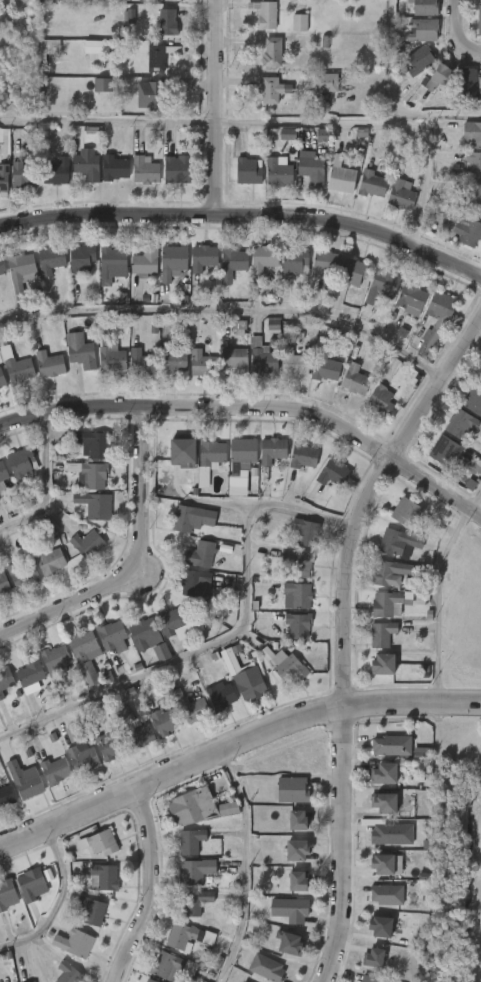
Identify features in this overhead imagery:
building: (425, 7)
building: (264, 15)
building: (479, 19)
building: (166, 21)
building: (299, 23)
building: (422, 30)
road: (453, 36)
building: (95, 46)
building: (47, 47)
building: (272, 51)
building: (155, 58)
building: (419, 59)
building: (437, 76)
building: (463, 81)
building: (324, 82)
building: (104, 85)
building: (479, 85)
building: (269, 90)
building: (150, 95)
road: (393, 99)
road: (211, 107)
road: (105, 121)
road: (375, 123)
building: (472, 133)
building: (288, 134)
building: (322, 136)
building: (473, 163)
building: (85, 165)
building: (113, 168)
building: (143, 169)
building: (310, 169)
building: (176, 170)
building: (55, 171)
building: (248, 171)
building: (277, 171)
building: (22, 174)
building: (341, 176)
building: (3, 177)
building: (371, 184)
building: (401, 194)
building: (472, 195)
road: (245, 215)
building: (465, 228)
building: (202, 257)
building: (81, 258)
building: (263, 258)
building: (49, 260)
building: (145, 261)
building: (172, 261)
building: (295, 261)
building: (111, 262)
building: (231, 263)
building: (323, 263)
building: (1, 268)
building: (19, 271)
building: (354, 272)
building: (383, 285)
building: (410, 298)
building: (442, 306)
building: (274, 322)
road: (223, 327)
building: (431, 340)
building: (80, 350)
building: (110, 355)
building: (261, 357)
building: (173, 359)
building: (234, 360)
building: (141, 362)
building: (293, 362)
building: (324, 362)
building: (49, 363)
building: (202, 364)
building: (16, 366)
building: (2, 378)
building: (355, 380)
building: (480, 381)
building: (474, 399)
building: (381, 401)
road: (254, 407)
building: (463, 423)
building: (91, 443)
building: (183, 450)
building: (271, 450)
building: (444, 450)
building: (241, 455)
building: (303, 456)
building: (208, 459)
building: (21, 464)
building: (2, 471)
building: (333, 473)
building: (89, 474)
road: (43, 481)
building: (1, 486)
building: (237, 486)
road: (367, 497)
road: (474, 497)
building: (94, 505)
building: (406, 511)
building: (194, 517)
building: (306, 532)
building: (398, 542)
building: (87, 544)
building: (199, 554)
building: (48, 560)
road: (134, 560)
building: (297, 563)
building: (390, 571)
building: (21, 575)
building: (3, 584)
building: (196, 584)
building: (298, 595)
road: (439, 601)
building: (389, 603)
building: (171, 621)
building: (297, 625)
building: (382, 634)
building: (143, 635)
building: (111, 636)
road: (226, 637)
building: (85, 655)
building: (54, 659)
building: (382, 665)
building: (288, 666)
building: (29, 671)
building: (5, 680)
building: (251, 683)
building: (222, 695)
building: (194, 707)
building: (167, 720)
building: (134, 728)
building: (74, 732)
road: (232, 744)
building: (391, 744)
building: (112, 745)
building: (421, 752)
building: (82, 757)
building: (54, 770)
building: (386, 773)
building: (24, 781)
building: (291, 789)
building: (5, 796)
building: (382, 802)
building: (199, 807)
building: (295, 818)
building: (391, 834)
building: (189, 840)
building: (101, 842)
road: (342, 844)
building: (294, 849)
building: (383, 862)
road: (244, 866)
building: (194, 870)
building: (104, 875)
building: (296, 880)
building: (31, 883)
road: (155, 888)
building: (6, 891)
building: (387, 895)
building: (199, 900)
road: (55, 901)
building: (289, 909)
building: (91, 911)
building: (378, 926)
building: (181, 934)
building: (73, 942)
building: (287, 942)
building: (374, 957)
building: (168, 966)
building: (268, 968)
building: (70, 973)
building: (370, 979)
building: (149, 980)
building: (31, 981)
building: (34, 981)
building: (244, 981)
building: (247, 981)

